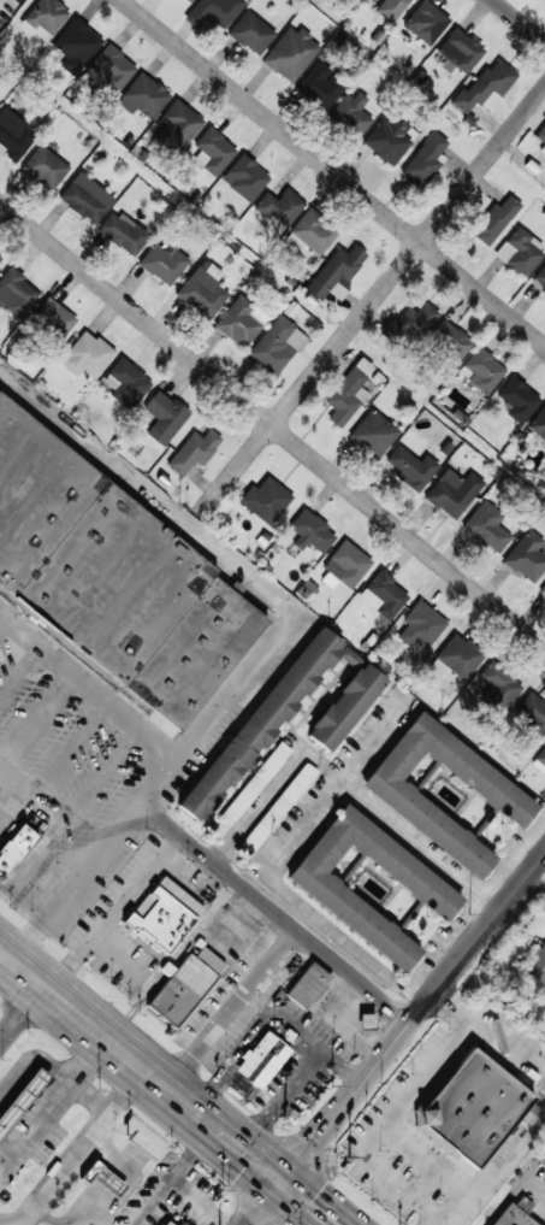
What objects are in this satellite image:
building: (192, 0)
building: (356, 0)
building: (391, 8)
building: (213, 12)
building: (46, 16)
road: (519, 20)
building: (426, 22)
building: (251, 33)
building: (76, 46)
building: (458, 51)
building: (290, 54)
building: (109, 70)
building: (319, 84)
building: (485, 88)
building: (143, 96)
building: (351, 113)
building: (177, 126)
building: (14, 134)
building: (541, 137)
building: (387, 140)
building: (213, 151)
building: (425, 160)
building: (45, 167)
road: (333, 172)
building: (244, 177)
building: (84, 198)
building: (279, 207)
building: (493, 219)
building: (123, 232)
building: (310, 232)
building: (519, 252)
road: (408, 257)
building: (0, 258)
building: (0, 261)
building: (162, 261)
building: (334, 272)
building: (540, 278)
building: (14, 293)
building: (202, 293)
building: (49, 320)
building: (239, 320)
building: (410, 323)
building: (449, 342)
building: (276, 344)
building: (87, 355)
building: (480, 370)
building: (125, 383)
building: (345, 396)
building: (515, 399)
building: (164, 417)
building: (538, 423)
road: (272, 425)
building: (372, 434)
building: (192, 450)
building: (410, 467)
road: (236, 470)
building: (452, 493)
building: (265, 500)
building: (486, 526)
building: (312, 531)
building: (526, 556)
building: (346, 564)
building: (111, 578)
building: (543, 589)
building: (383, 595)
building: (421, 625)
road: (266, 643)
building: (460, 656)
building: (498, 687)
building: (345, 707)
building: (532, 717)
building: (260, 726)
building: (540, 756)
road: (4, 758)
building: (248, 790)
road: (271, 790)
building: (502, 796)
road: (58, 799)
building: (274, 811)
road: (374, 814)
building: (13, 847)
building: (425, 889)
road: (298, 903)
road: (274, 912)
building: (162, 915)
road: (469, 947)
building: (535, 962)
building: (308, 985)
building: (186, 987)
road: (18, 1006)
building: (366, 1020)
building: (259, 1061)
road: (166, 1088)
building: (22, 1099)
gas station: (22, 1099)
building: (472, 1106)
road: (337, 1111)
building: (89, 1172)
traffic signals: (282, 1182)
road: (263, 1203)
building: (513, 1217)
building: (166, 1223)
building: (180, 1223)

